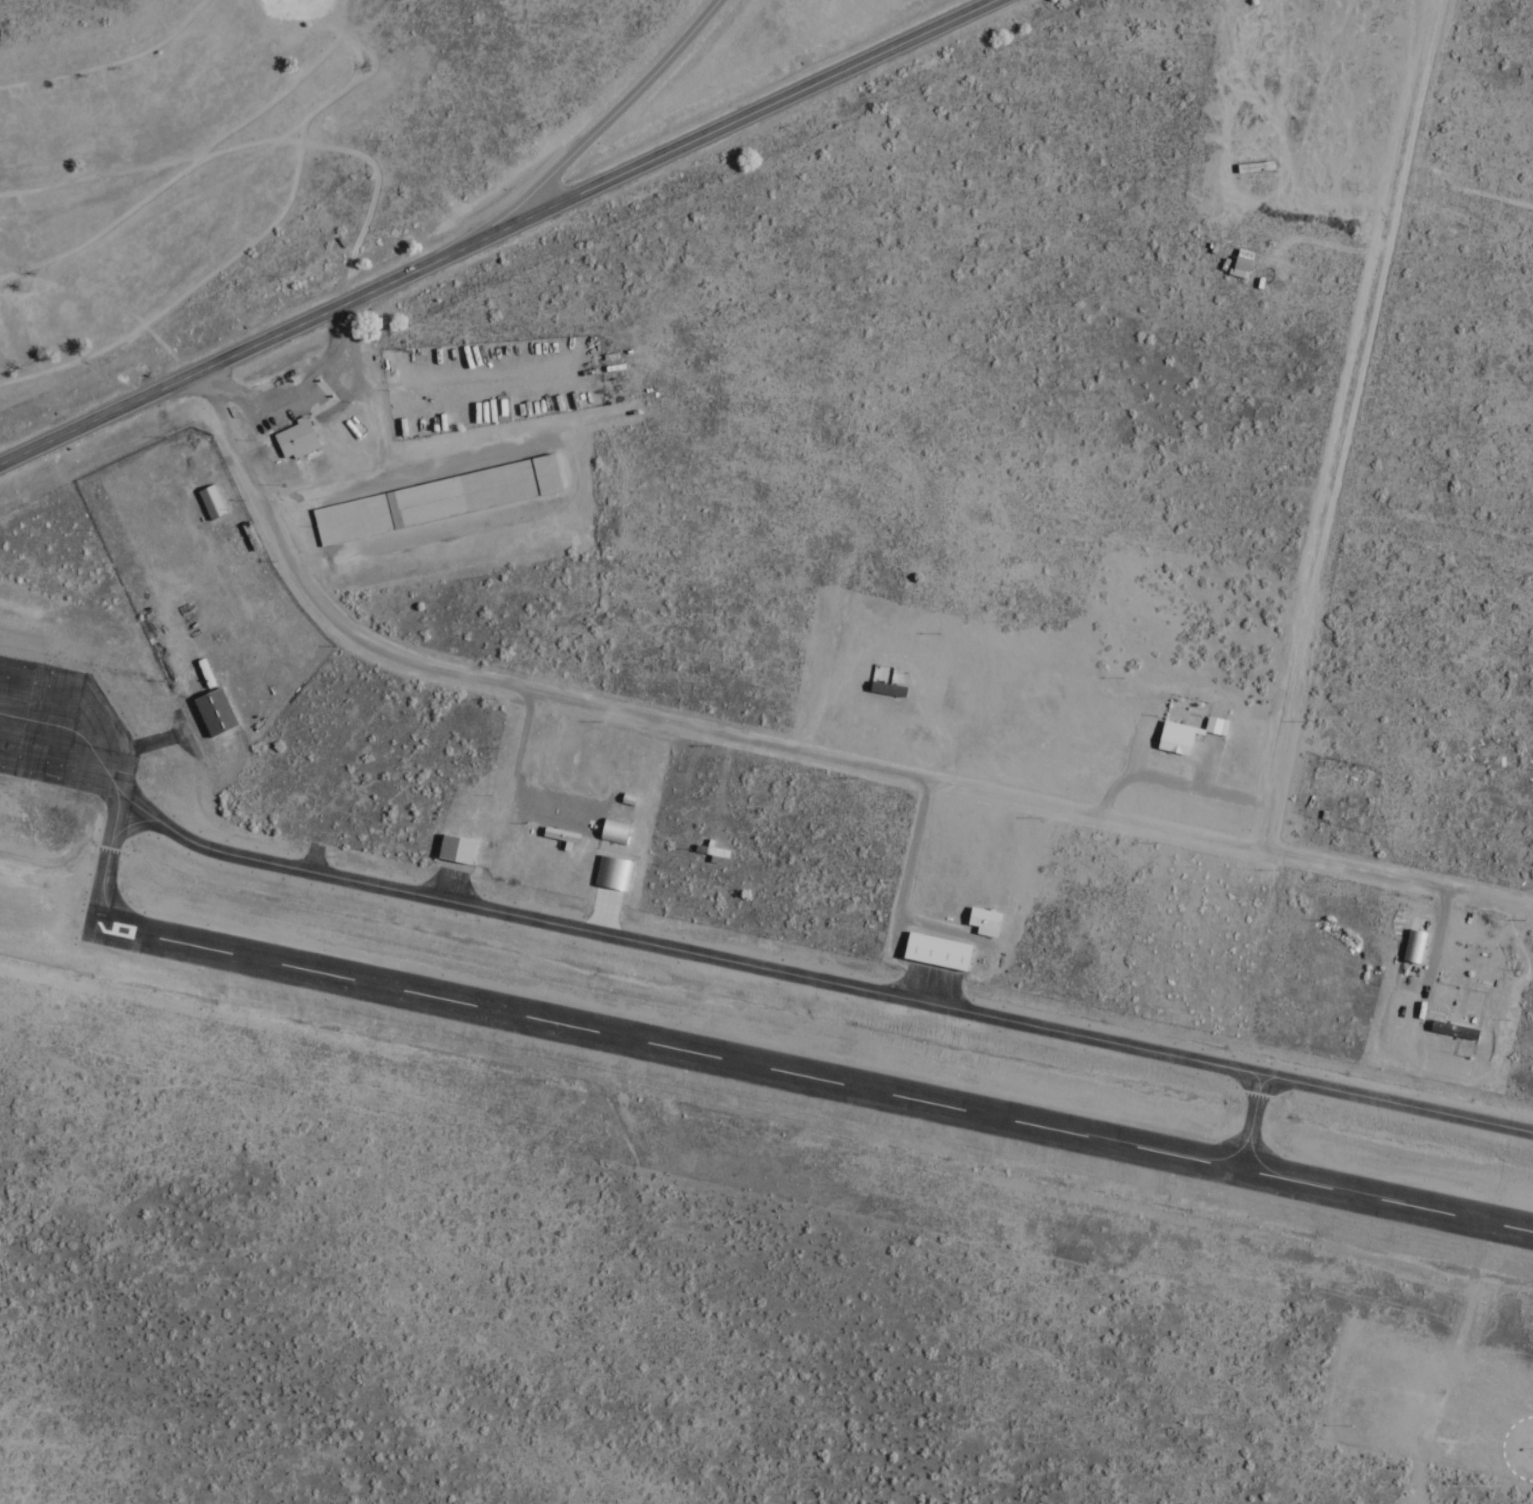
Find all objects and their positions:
road: (725, 125)
road: (592, 133)
park: (185, 167)
building: (1461, 220)
building: (1241, 264)
road: (226, 358)
building: (293, 439)
building: (436, 500)
building: (211, 502)
road: (22, 641)
building: (889, 671)
building: (961, 686)
building: (213, 713)
airport apron: (77, 731)
building: (1174, 743)
road: (788, 744)
building: (457, 850)
building: (714, 850)
airport apron: (451, 877)
building: (983, 922)
building: (938, 953)
airport taxiway: (750, 965)
airport apron: (932, 979)
building: (1457, 1032)
airport runway: (811, 1076)
airport taxiway: (1246, 1121)

